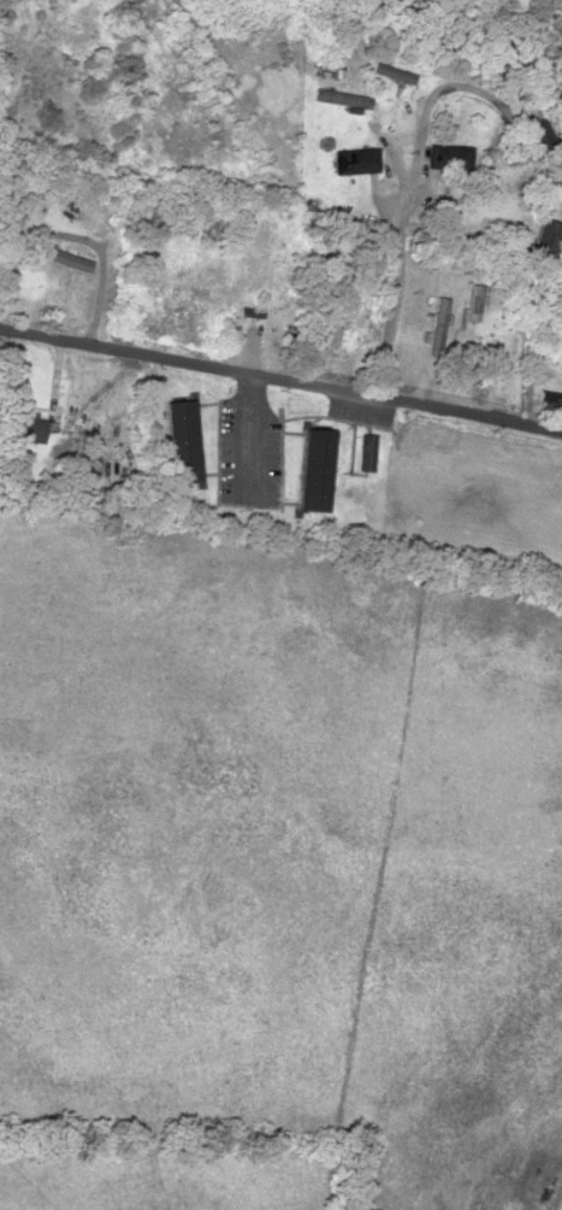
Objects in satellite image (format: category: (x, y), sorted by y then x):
building: (392, 72)
building: (339, 98)
building: (456, 113)
building: (540, 136)
building: (448, 157)
building: (355, 160)
building: (348, 211)
building: (546, 240)
building: (63, 258)
road: (388, 311)
road: (280, 377)
building: (551, 394)
building: (25, 427)
building: (182, 439)
building: (315, 468)

